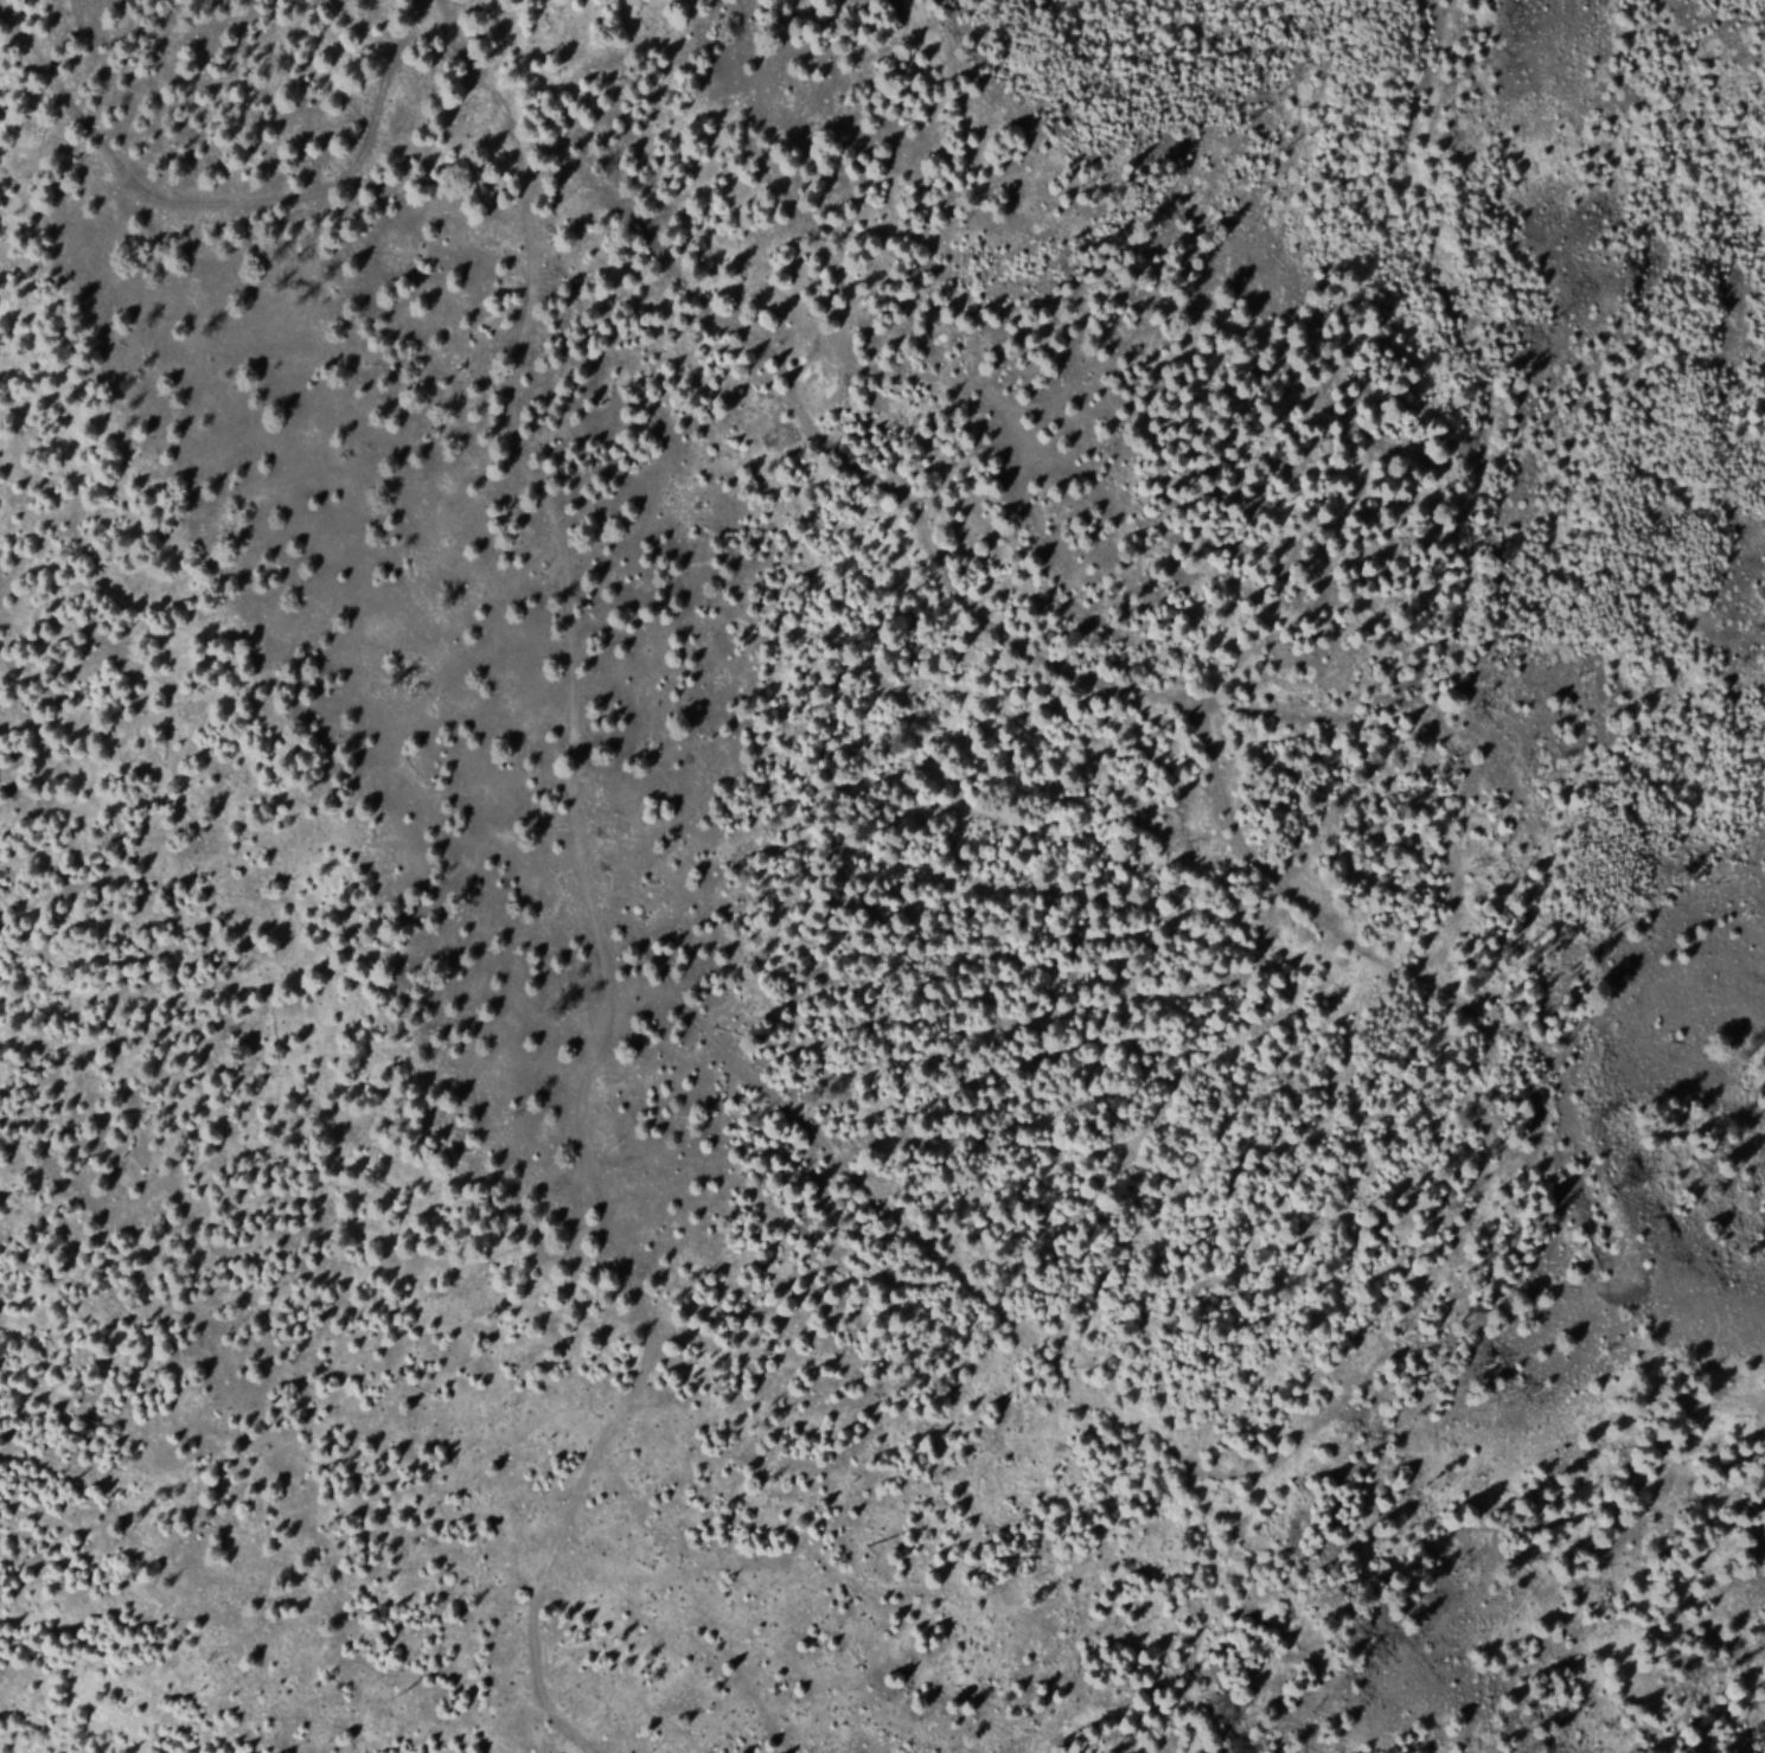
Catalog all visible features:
road: (549, 875)

